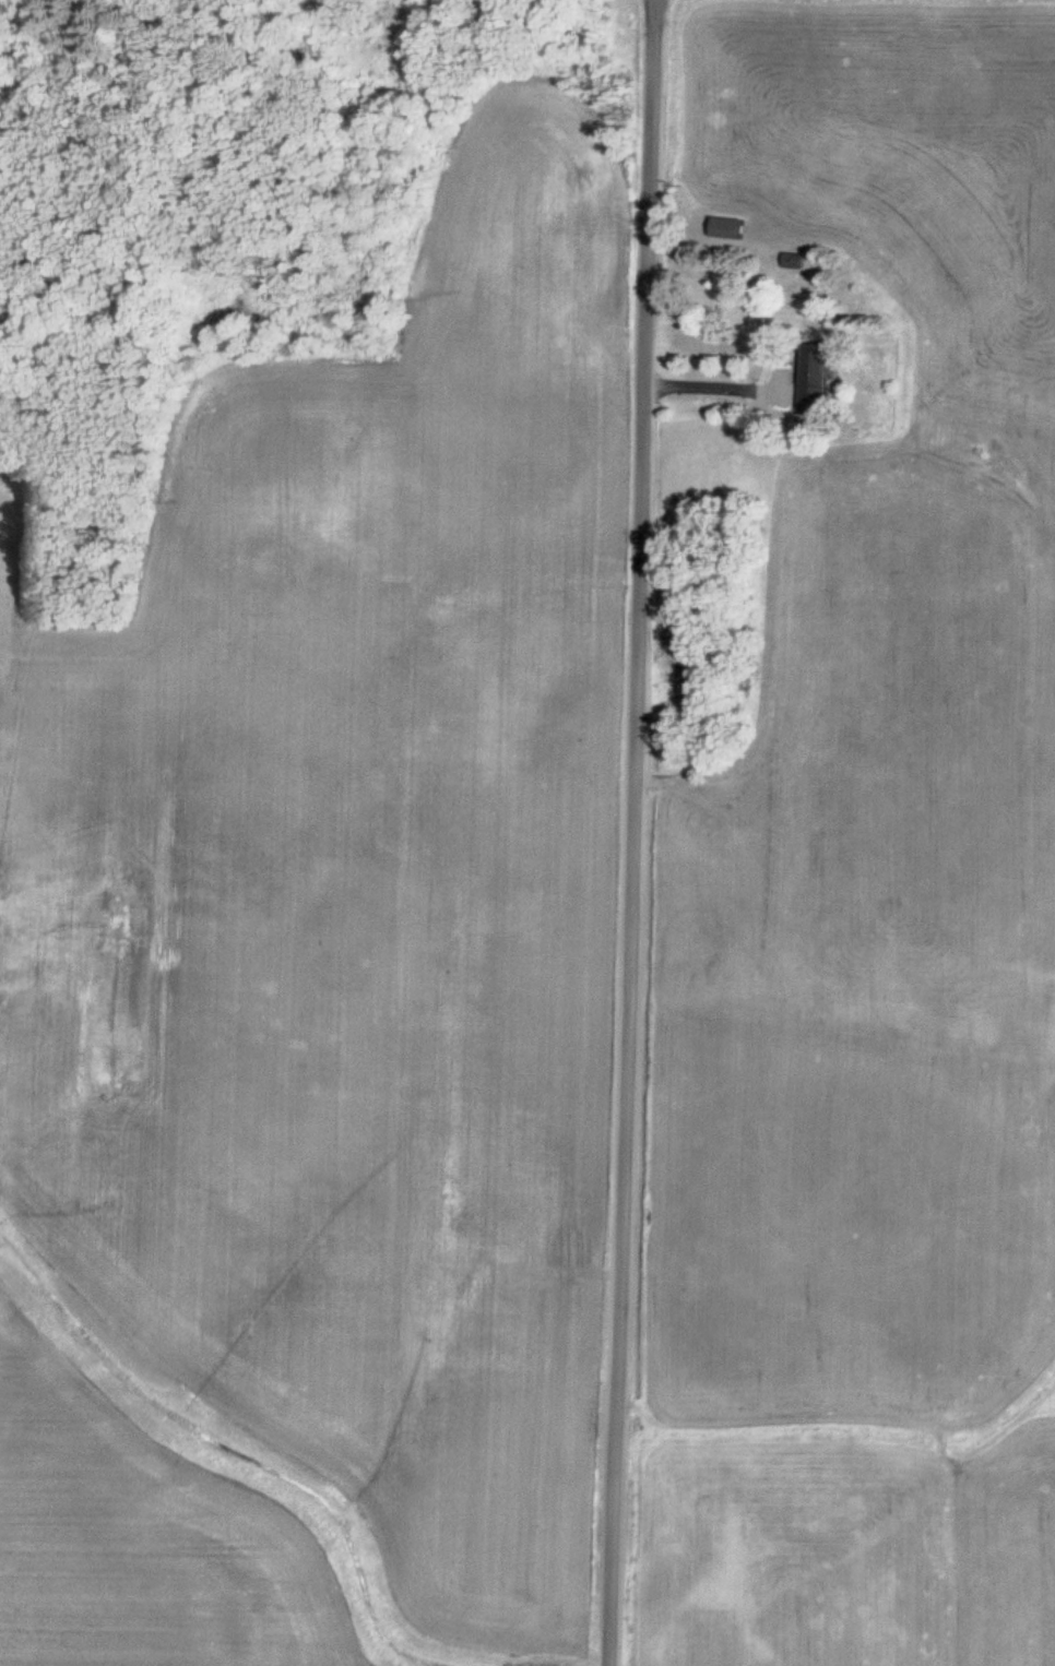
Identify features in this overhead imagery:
building: (730, 227)
building: (795, 260)
building: (815, 378)
road: (633, 833)

